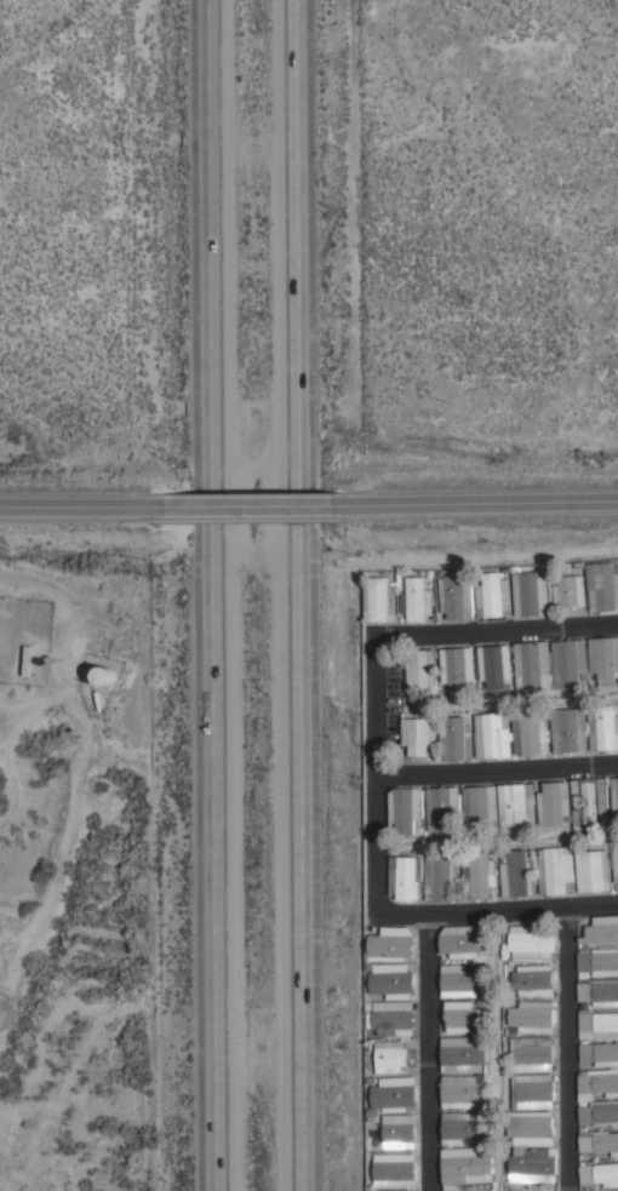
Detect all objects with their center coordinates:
road: (492, 503)
road: (259, 506)
road: (76, 508)
building: (603, 586)
building: (570, 591)
building: (531, 594)
road: (210, 595)
road: (302, 595)
building: (493, 595)
building: (457, 596)
building: (417, 599)
building: (379, 600)
road: (496, 628)
building: (603, 657)
building: (571, 663)
building: (494, 665)
building: (532, 665)
building: (457, 666)
building: (422, 669)
building: (105, 675)
building: (603, 728)
building: (531, 731)
building: (570, 731)
building: (417, 734)
building: (493, 735)
building: (456, 739)
road: (497, 768)
road: (377, 775)
building: (614, 796)
building: (554, 803)
building: (590, 803)
building: (480, 806)
building: (442, 807)
building: (405, 808)
building: (516, 808)
building: (614, 863)
building: (555, 871)
building: (593, 871)
building: (517, 874)
building: (479, 875)
building: (405, 876)
building: (441, 877)
road: (498, 912)
building: (601, 929)
building: (463, 940)
building: (531, 943)
building: (390, 945)
building: (599, 961)
building: (393, 980)
building: (460, 980)
building: (533, 980)
building: (599, 991)
building: (463, 1017)
building: (532, 1017)
building: (394, 1018)
building: (597, 1024)
road: (566, 1049)
building: (462, 1053)
building: (600, 1053)
road: (427, 1054)
building: (531, 1054)
building: (390, 1057)
building: (599, 1081)
building: (460, 1092)
building: (532, 1092)
building: (395, 1093)
building: (599, 1112)
building: (463, 1128)
building: (399, 1130)
building: (597, 1141)
building: (520, 1146)
building: (465, 1166)
building: (394, 1169)
building: (599, 1173)
building: (571, 1186)

